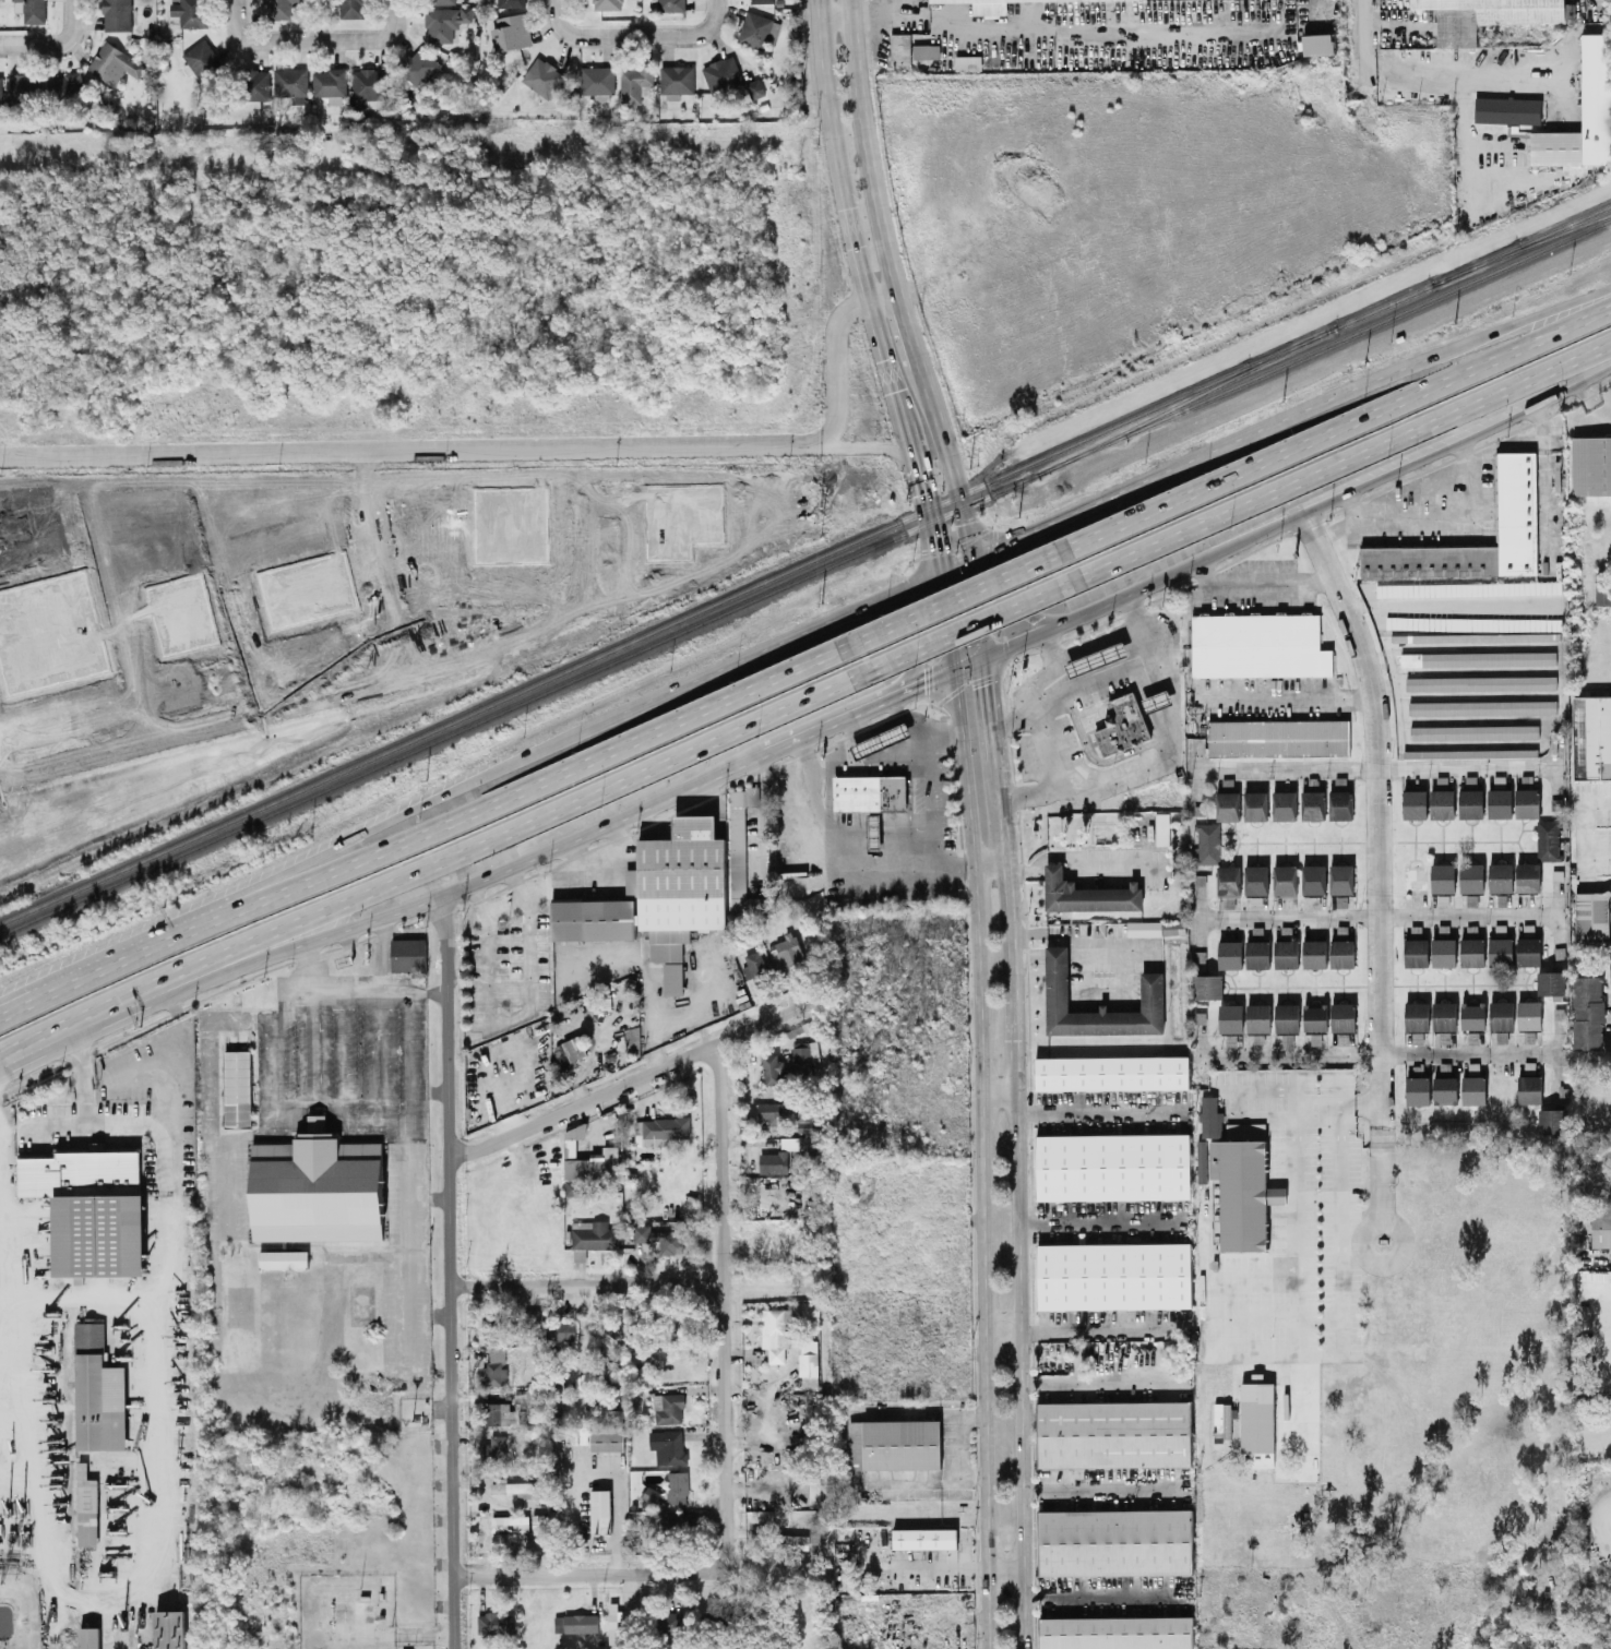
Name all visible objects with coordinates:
building: (760, 0)
building: (440, 1)
building: (506, 2)
building: (607, 3)
building: (667, 4)
building: (986, 7)
building: (351, 8)
building: (277, 9)
building: (31, 10)
building: (189, 12)
road: (1161, 12)
road: (834, 13)
building: (117, 14)
building: (1484, 16)
building: (444, 21)
road: (1088, 25)
building: (759, 29)
building: (511, 31)
road: (639, 31)
road: (1363, 32)
road: (372, 37)
road: (262, 38)
road: (55, 40)
building: (1316, 44)
building: (899, 47)
building: (926, 50)
building: (200, 58)
building: (967, 61)
building: (114, 62)
building: (418, 65)
building: (721, 72)
road: (1472, 73)
building: (542, 75)
building: (676, 80)
building: (597, 81)
building: (633, 82)
building: (290, 83)
building: (330, 84)
building: (22, 86)
building: (367, 86)
building: (65, 87)
building: (754, 87)
building: (0, 88)
building: (1506, 109)
building: (1583, 112)
road: (1471, 134)
road: (864, 146)
road: (846, 214)
railway: (1521, 243)
railway: (1521, 248)
railway: (1385, 304)
road: (1517, 321)
road: (906, 327)
railway: (1325, 344)
railway: (1189, 398)
road: (1284, 417)
road: (1336, 428)
road: (506, 447)
road: (862, 447)
road: (948, 459)
road: (1341, 462)
building: (1590, 466)
road: (1382, 473)
road: (1410, 483)
building: (1520, 497)
road: (922, 499)
road: (1351, 504)
road: (1057, 521)
road: (1434, 521)
traffic signals: (969, 560)
road: (953, 567)
traffic signals: (936, 575)
road: (1257, 583)
building: (1468, 587)
road: (1022, 588)
building: (1602, 592)
road: (962, 597)
road: (975, 608)
road: (1066, 618)
railway: (668, 622)
road: (944, 622)
road: (974, 625)
road: (1091, 640)
road: (777, 644)
building: (1261, 644)
road: (910, 646)
traffic signals: (981, 656)
building: (1478, 657)
road: (967, 662)
building: (1107, 666)
traffic signals: (953, 669)
road: (1114, 677)
building: (1480, 681)
road: (912, 685)
road: (1282, 698)
building: (1157, 701)
railway: (520, 702)
road: (987, 705)
road: (1036, 706)
building: (1482, 706)
road: (909, 717)
building: (1125, 724)
road: (818, 727)
building: (1473, 730)
building: (1281, 736)
building: (1591, 736)
building: (880, 739)
building: (1469, 752)
road: (884, 753)
road: (1376, 763)
road: (1561, 763)
road: (1154, 764)
road: (1193, 767)
road: (830, 768)
road: (558, 770)
road: (1049, 772)
building: (867, 792)
road: (1381, 798)
road: (432, 799)
building: (1442, 802)
building: (1470, 802)
building: (1500, 802)
building: (1527, 802)
building: (1313, 803)
building: (1340, 803)
building: (1415, 803)
building: (1228, 804)
building: (1255, 804)
building: (1284, 804)
road: (999, 808)
road: (533, 818)
road: (931, 818)
building: (1161, 827)
building: (873, 829)
building: (1548, 838)
building: (1207, 841)
road: (1586, 847)
building: (740, 848)
road: (837, 848)
road: (528, 852)
road: (1071, 858)
road: (988, 862)
building: (1528, 875)
building: (1442, 876)
building: (1471, 876)
building: (1500, 876)
building: (1341, 877)
building: (1255, 879)
building: (1285, 879)
building: (1313, 879)
building: (1228, 880)
building: (679, 883)
building: (1091, 893)
road: (505, 905)
road: (1555, 910)
road: (1375, 913)
road: (1196, 916)
building: (1591, 916)
building: (593, 918)
building: (1155, 927)
road: (1042, 932)
road: (1075, 944)
road: (142, 948)
building: (786, 949)
building: (1528, 949)
building: (1416, 951)
building: (1443, 951)
building: (1471, 951)
building: (1500, 951)
building: (1314, 952)
building: (1341, 952)
building: (407, 953)
building: (1230, 953)
building: (1257, 953)
building: (1286, 953)
road: (241, 955)
road: (1030, 955)
road: (1061, 955)
road: (1073, 955)
road: (1011, 958)
building: (754, 963)
road: (307, 965)
building: (1610, 967)
building: (672, 977)
building: (1551, 981)
road: (1122, 983)
building: (1208, 985)
road: (380, 987)
building: (1156, 990)
road: (131, 994)
road: (649, 1000)
road: (16, 1007)
building: (1588, 1011)
road: (510, 1013)
road: (374, 1014)
building: (1444, 1014)
building: (1501, 1014)
building: (1528, 1014)
building: (1342, 1015)
building: (1416, 1015)
building: (1472, 1015)
building: (1257, 1016)
building: (1286, 1016)
building: (1315, 1016)
building: (1230, 1017)
road: (261, 1019)
road: (36, 1038)
building: (570, 1050)
road: (1562, 1051)
road: (311, 1052)
road: (342, 1052)
road: (1197, 1054)
road: (1380, 1054)
building: (801, 1060)
road: (276, 1067)
building: (773, 1067)
building: (1117, 1071)
road: (631, 1078)
building: (235, 1087)
building: (1444, 1087)
building: (1473, 1088)
building: (1529, 1088)
building: (1417, 1089)
road: (428, 1090)
road: (999, 1095)
road: (1601, 1107)
building: (769, 1111)
road: (1101, 1112)
building: (1210, 1115)
road: (342, 1116)
building: (806, 1116)
building: (1552, 1120)
building: (661, 1128)
building: (1244, 1130)
building: (784, 1152)
road: (225, 1157)
building: (588, 1157)
road: (982, 1158)
building: (1119, 1164)
road: (1383, 1169)
building: (803, 1179)
road: (407, 1185)
building: (573, 1186)
building: (313, 1187)
building: (1242, 1192)
building: (91, 1208)
road: (1106, 1224)
building: (1600, 1227)
building: (592, 1236)
building: (660, 1238)
road: (1609, 1256)
building: (283, 1257)
road: (451, 1270)
building: (1118, 1274)
road: (586, 1282)
road: (1299, 1287)
road: (720, 1304)
building: (532, 1315)
road: (585, 1326)
road: (1105, 1327)
road: (1001, 1328)
building: (561, 1329)
building: (776, 1330)
building: (600, 1331)
road: (1018, 1352)
building: (808, 1361)
building: (494, 1366)
road: (1102, 1381)
building: (558, 1382)
building: (98, 1390)
building: (526, 1403)
building: (668, 1407)
building: (601, 1411)
road: (1305, 1411)
building: (496, 1412)
building: (1119, 1432)
building: (1268, 1432)
building: (607, 1439)
building: (894, 1443)
building: (668, 1445)
building: (496, 1450)
building: (677, 1485)
building: (517, 1487)
road: (1105, 1490)
building: (651, 1493)
road: (151, 1494)
building: (86, 1506)
building: (600, 1509)
building: (668, 1520)
building: (539, 1521)
building: (756, 1530)
building: (814, 1536)
building: (924, 1537)
building: (786, 1540)
building: (1119, 1541)
road: (1003, 1565)
road: (584, 1573)
road: (1106, 1596)
building: (494, 1621)
building: (613, 1621)
building: (575, 1622)
building: (667, 1622)
building: (169, 1628)
building: (1120, 1632)
building: (88, 1637)

